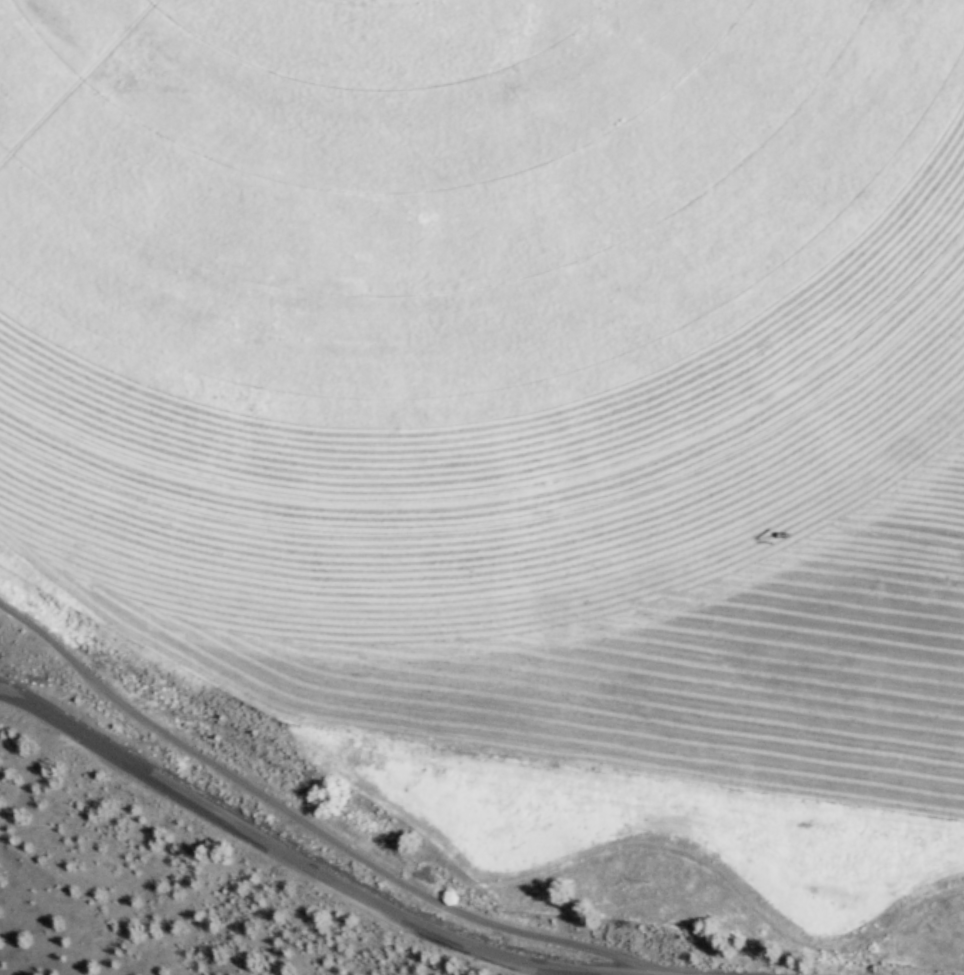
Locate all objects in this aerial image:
road: (226, 810)
road: (132, 885)
road: (467, 956)
road: (698, 956)

